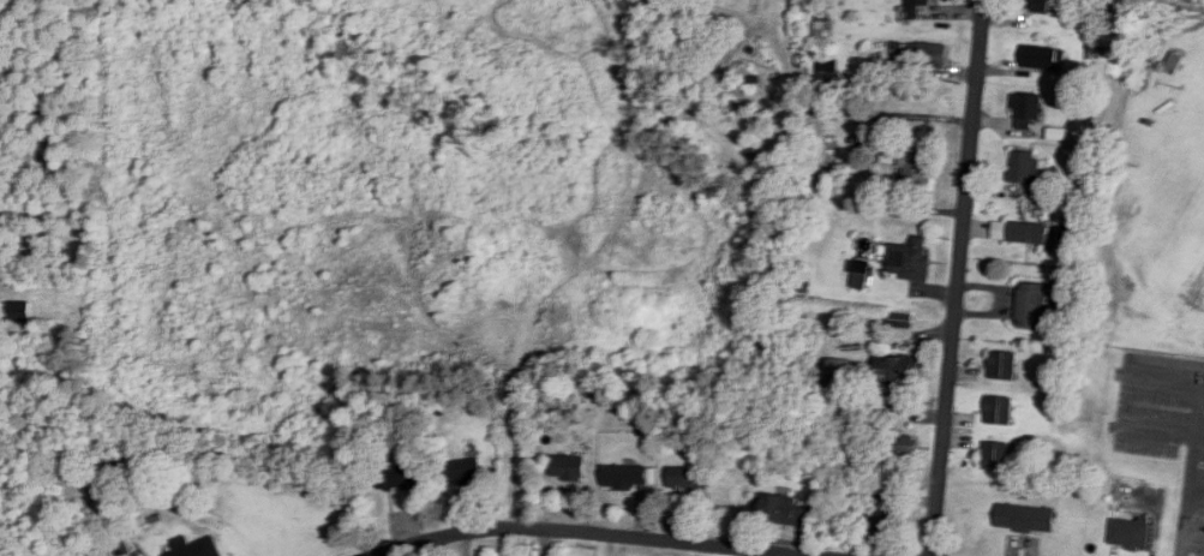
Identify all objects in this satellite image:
building: (1043, 6)
building: (918, 7)
building: (932, 54)
building: (1041, 56)
building: (1174, 62)
building: (827, 70)
building: (1030, 110)
building: (1026, 167)
building: (921, 171)
building: (1028, 233)
building: (911, 263)
road: (958, 277)
building: (1034, 306)
building: (17, 311)
building: (903, 321)
building: (1006, 365)
building: (898, 370)
building: (839, 372)
building: (1001, 411)
building: (999, 456)
building: (569, 467)
road: (1193, 468)
building: (466, 472)
building: (629, 477)
building: (397, 478)
building: (688, 478)
building: (787, 512)
building: (889, 515)
building: (1024, 518)
road: (595, 532)
building: (1128, 532)
road: (1190, 544)
building: (198, 548)

